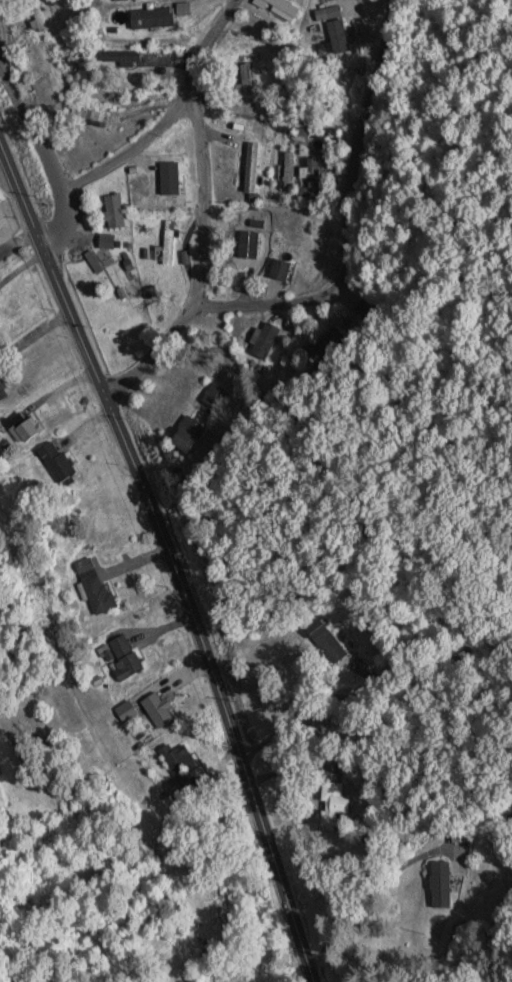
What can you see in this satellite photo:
building: (278, 8)
building: (147, 20)
building: (334, 29)
building: (119, 57)
building: (58, 62)
building: (243, 84)
building: (87, 116)
road: (166, 116)
road: (46, 153)
building: (250, 169)
building: (288, 171)
building: (168, 176)
building: (311, 181)
building: (113, 211)
building: (251, 239)
building: (168, 242)
building: (278, 270)
road: (338, 275)
building: (267, 341)
building: (2, 391)
building: (214, 395)
building: (24, 428)
building: (186, 434)
building: (55, 460)
road: (167, 557)
building: (94, 584)
building: (326, 641)
building: (125, 655)
building: (157, 709)
building: (178, 760)
building: (336, 773)
building: (336, 801)
building: (53, 853)
building: (439, 885)

